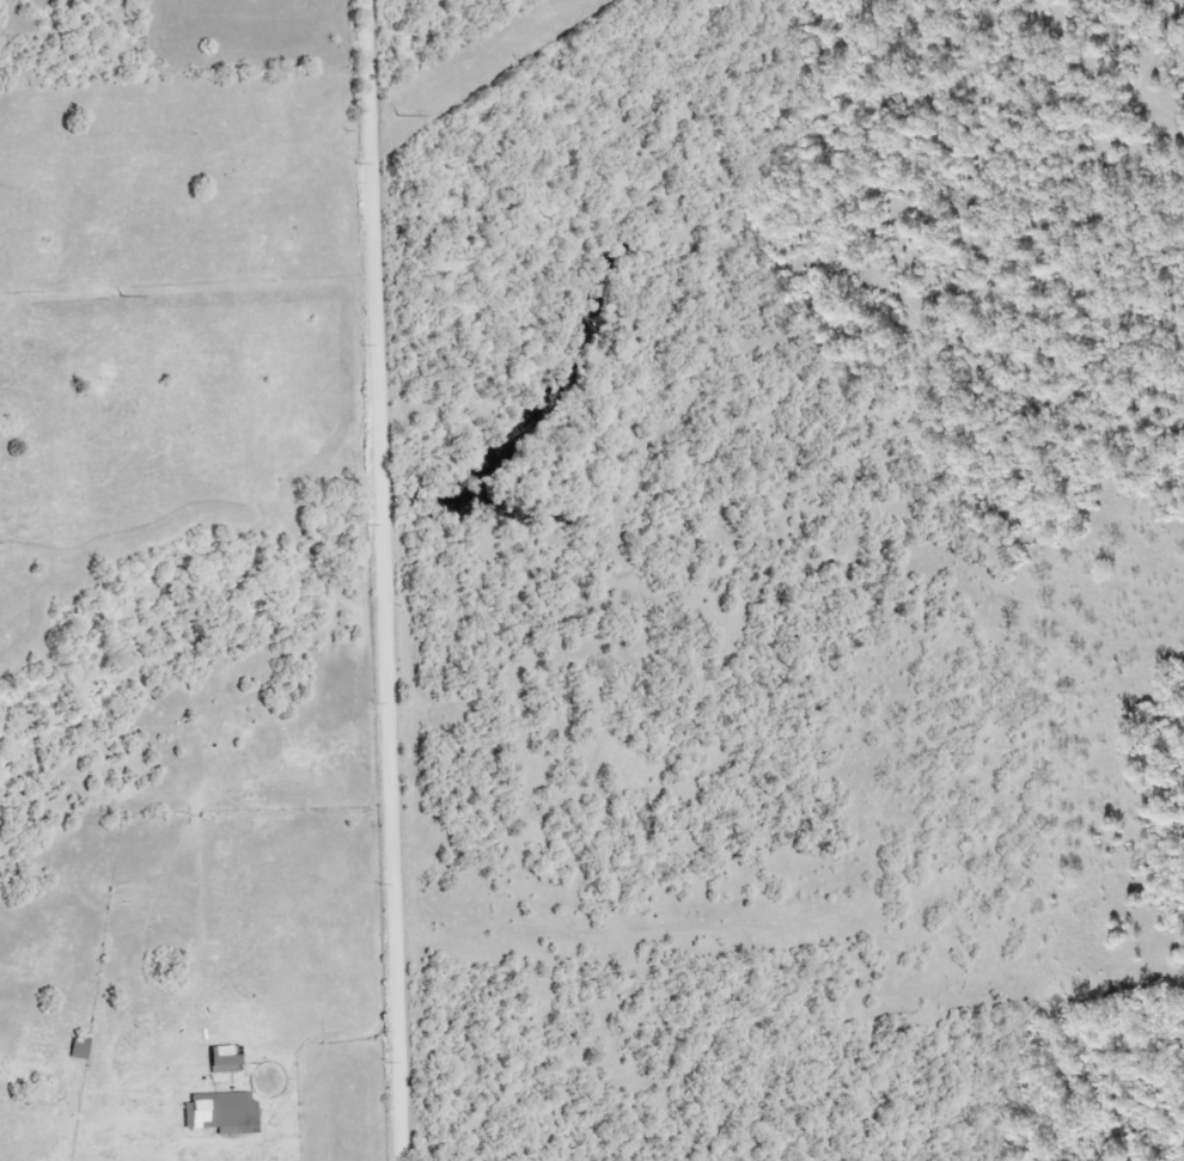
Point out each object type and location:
power tower: (396, 115)
power tower: (118, 297)
road: (384, 580)
building: (80, 1047)
building: (222, 1113)

